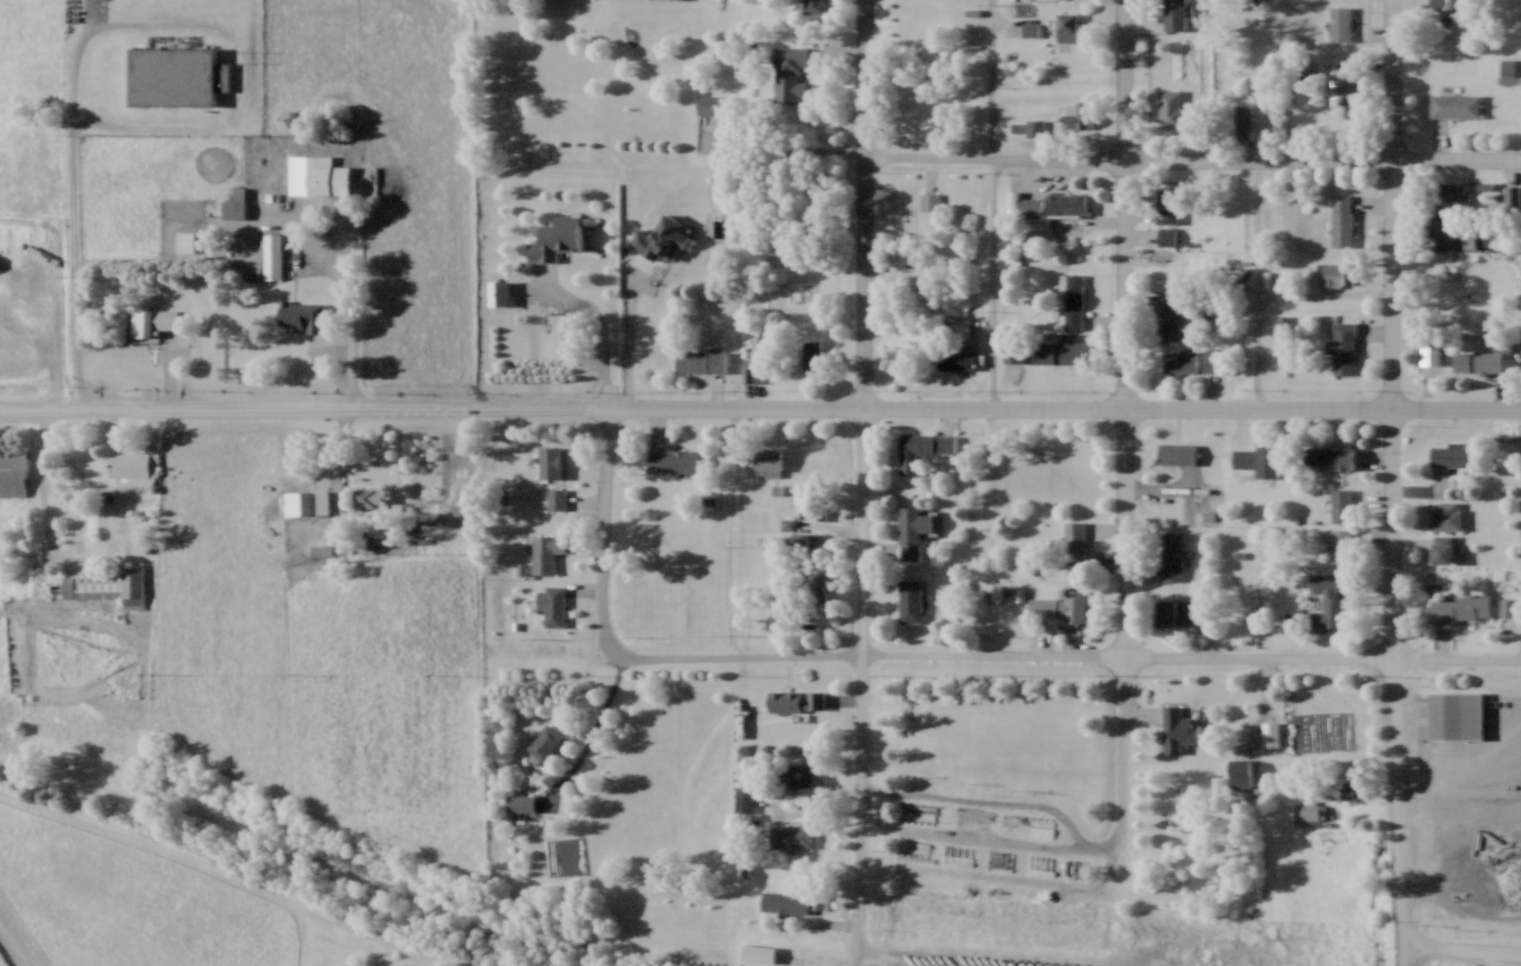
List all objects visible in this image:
building: (814, 6)
building: (1448, 10)
building: (1175, 14)
building: (1340, 22)
building: (1067, 25)
road: (91, 27)
building: (1030, 28)
building: (1506, 66)
building: (790, 72)
building: (177, 75)
road: (993, 79)
building: (1345, 96)
building: (710, 103)
building: (1454, 105)
building: (1172, 108)
building: (1078, 111)
building: (1242, 120)
building: (1035, 126)
road: (785, 150)
road: (1193, 158)
building: (305, 171)
building: (1449, 191)
building: (929, 200)
road: (865, 201)
road: (1129, 203)
building: (235, 204)
building: (1052, 204)
building: (1167, 204)
road: (1393, 204)
building: (1341, 219)
building: (323, 230)
building: (1444, 233)
building: (1167, 235)
building: (555, 237)
building: (185, 240)
building: (272, 253)
building: (1336, 274)
building: (497, 291)
road: (1268, 292)
building: (1072, 299)
road: (59, 314)
building: (1169, 315)
building: (302, 316)
building: (152, 320)
building: (13, 334)
road: (349, 339)
building: (1061, 351)
building: (1343, 351)
building: (816, 357)
building: (1480, 358)
building: (1210, 359)
building: (957, 360)
building: (1179, 360)
building: (700, 361)
building: (751, 371)
road: (735, 405)
road: (1129, 407)
road: (302, 408)
road: (1457, 408)
building: (922, 449)
building: (1176, 453)
building: (1453, 455)
building: (1329, 457)
building: (673, 459)
building: (1258, 459)
building: (550, 460)
building: (132, 462)
building: (768, 463)
building: (12, 471)
road: (53, 489)
building: (370, 497)
building: (556, 498)
building: (297, 502)
building: (1341, 505)
building: (1446, 516)
building: (912, 530)
road: (1397, 534)
road: (604, 538)
building: (1072, 542)
building: (1341, 545)
building: (1443, 549)
building: (546, 552)
building: (1172, 555)
building: (107, 585)
building: (910, 600)
building: (1327, 602)
building: (1074, 603)
building: (554, 605)
building: (1461, 608)
building: (1165, 612)
road: (1128, 630)
road: (1013, 659)
road: (1460, 660)
road: (863, 678)
building: (796, 700)
building: (1456, 714)
road: (1512, 714)
road: (599, 715)
building: (1177, 728)
building: (1270, 733)
building: (544, 740)
building: (1239, 773)
building: (800, 774)
road: (556, 787)
building: (743, 798)
building: (519, 802)
building: (1309, 810)
road: (1400, 813)
road: (888, 832)
building: (790, 836)
road: (1102, 852)
building: (784, 901)
road: (1460, 951)
road: (932, 958)
road: (856, 959)

